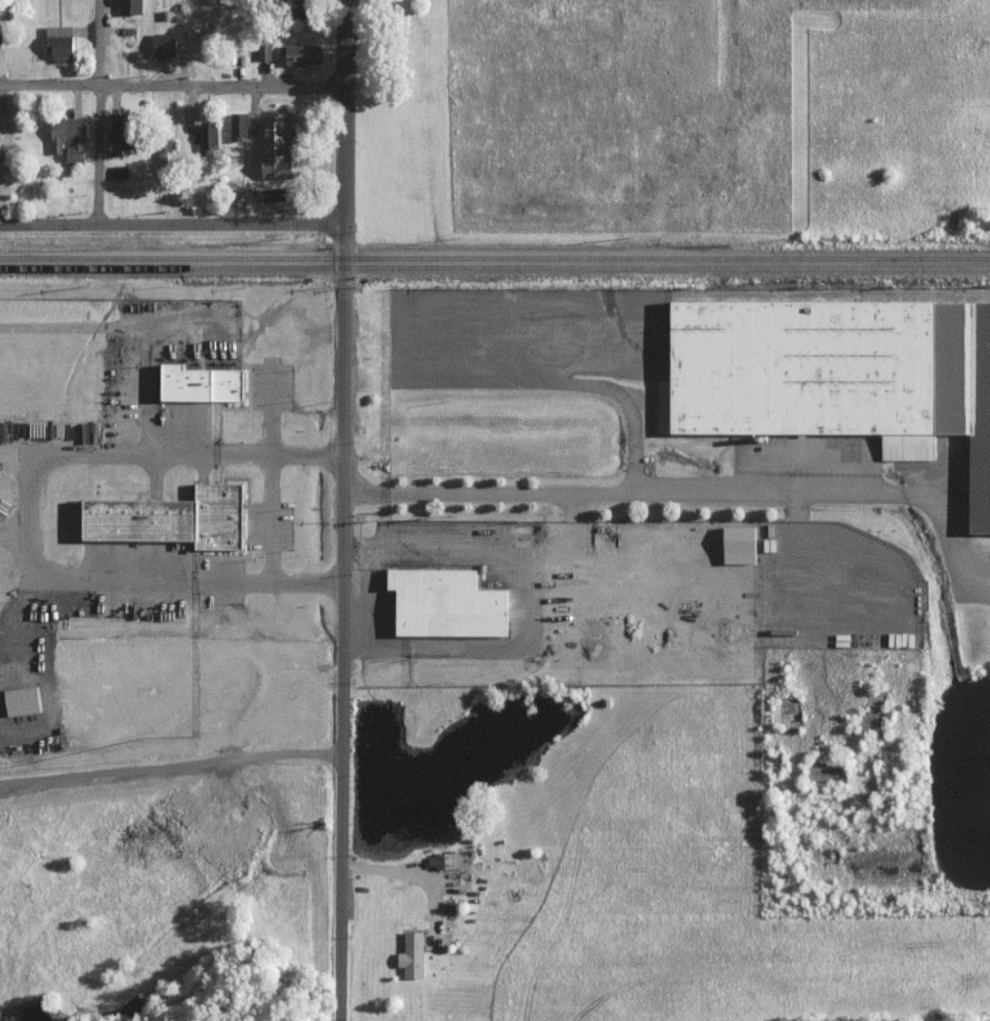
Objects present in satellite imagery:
building: (131, 6)
building: (63, 44)
building: (166, 44)
building: (265, 50)
building: (303, 54)
road: (172, 83)
road: (97, 111)
building: (240, 125)
building: (124, 129)
building: (70, 139)
building: (209, 139)
building: (281, 145)
building: (164, 159)
road: (172, 222)
railway: (495, 256)
railway: (495, 268)
building: (833, 377)
building: (202, 384)
parking lot: (271, 387)
road: (273, 477)
road: (617, 500)
road: (343, 510)
road: (30, 518)
building: (174, 519)
parking lot: (272, 525)
road: (955, 555)
parking lot: (224, 582)
road: (983, 598)
parking lot: (121, 604)
building: (443, 604)
building: (901, 640)
building: (25, 701)
road: (171, 769)
building: (444, 860)
building: (409, 956)

